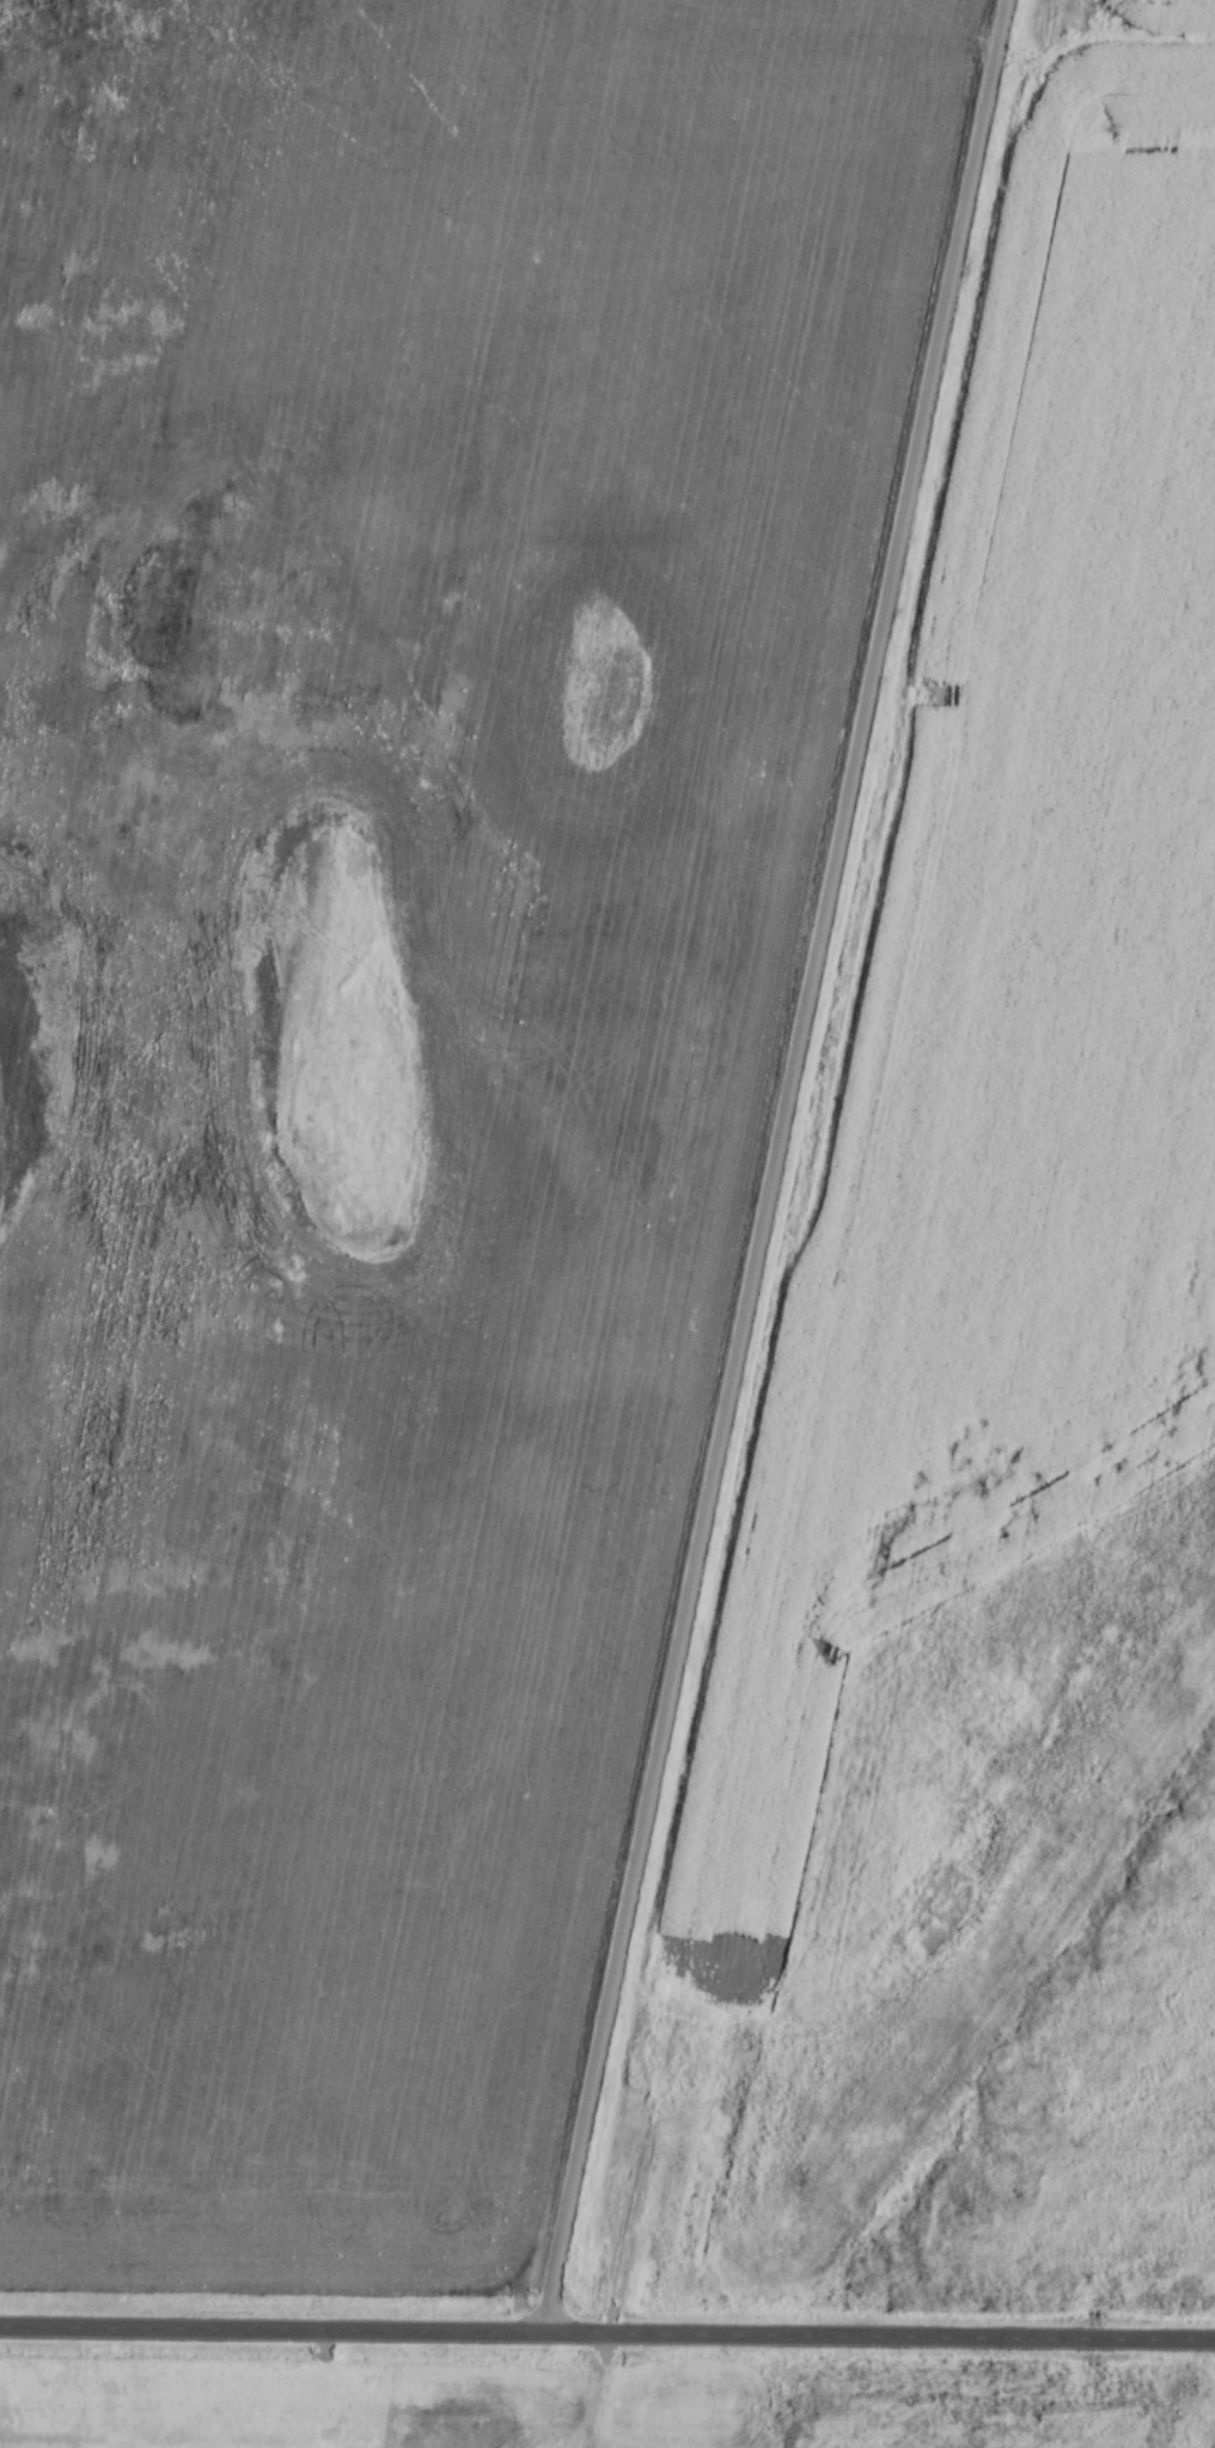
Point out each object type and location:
road: (774, 1168)
road: (607, 2336)

